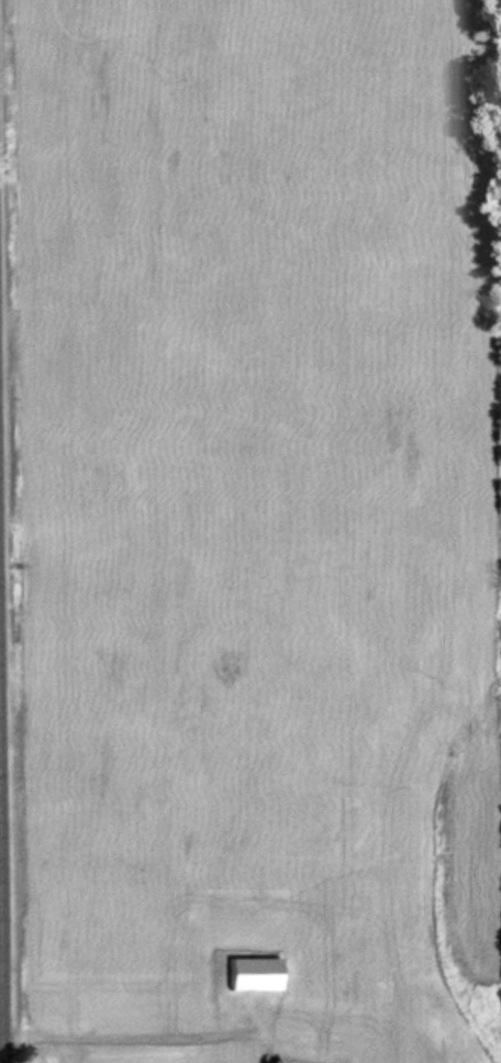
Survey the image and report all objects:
building: (256, 972)
road: (0, 1027)

